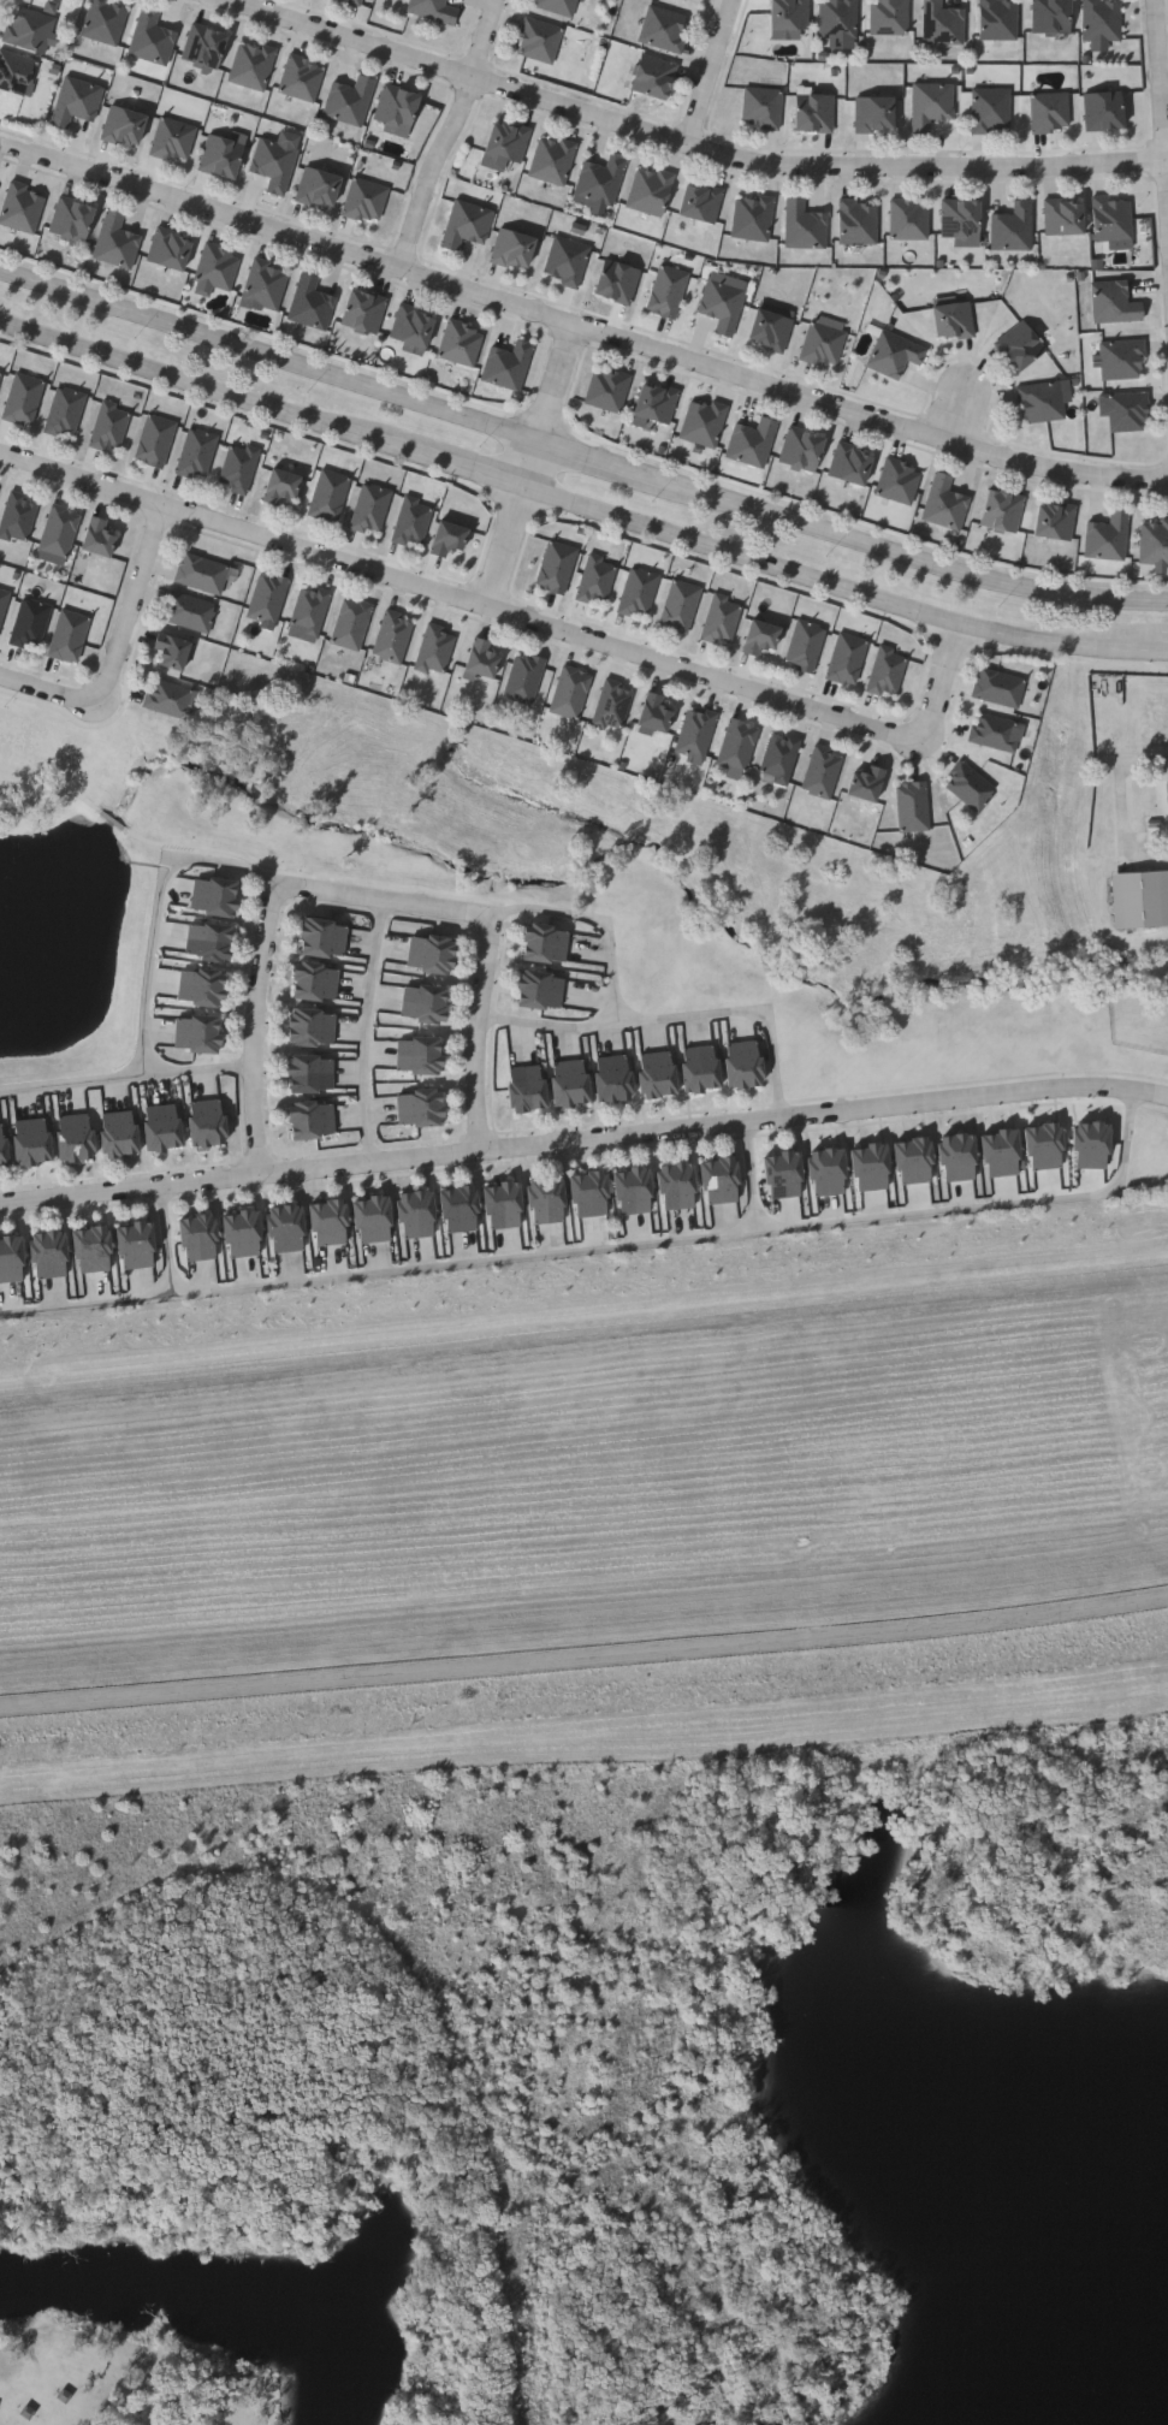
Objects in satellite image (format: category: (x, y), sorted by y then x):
building: (355, 1)
building: (557, 6)
building: (434, 10)
building: (789, 14)
building: (890, 17)
building: (1051, 17)
building: (998, 19)
building: (106, 20)
building: (840, 20)
building: (1102, 23)
building: (943, 24)
building: (665, 29)
building: (31, 30)
building: (153, 38)
road: (349, 40)
building: (540, 41)
building: (206, 47)
building: (254, 66)
building: (16, 72)
road: (711, 72)
building: (654, 77)
building: (303, 79)
road: (1160, 97)
building: (351, 101)
building: (77, 102)
building: (932, 106)
building: (397, 108)
building: (763, 108)
building: (1104, 111)
building: (991, 112)
building: (1051, 112)
building: (816, 113)
building: (876, 114)
building: (124, 126)
road: (452, 136)
building: (173, 141)
building: (505, 146)
building: (223, 155)
building: (275, 161)
building: (553, 161)
road: (814, 168)
building: (601, 180)
building: (319, 188)
building: (650, 191)
building: (366, 201)
building: (700, 202)
building: (23, 207)
building: (1065, 217)
building: (753, 218)
building: (1114, 219)
building: (72, 220)
building: (909, 220)
building: (859, 223)
building: (961, 223)
building: (467, 225)
building: (805, 225)
building: (1014, 229)
road: (289, 235)
building: (117, 243)
building: (170, 249)
building: (512, 249)
building: (568, 261)
building: (219, 267)
building: (618, 281)
building: (267, 285)
building: (669, 291)
building: (724, 301)
building: (1115, 303)
building: (312, 304)
building: (363, 312)
building: (953, 321)
building: (413, 326)
building: (770, 330)
building: (825, 340)
building: (462, 344)
building: (1021, 346)
road: (272, 350)
building: (895, 354)
building: (1123, 360)
building: (509, 366)
building: (0, 368)
building: (0, 374)
road: (561, 381)
road: (196, 383)
building: (607, 389)
building: (22, 398)
building: (657, 403)
building: (1043, 403)
building: (64, 410)
building: (1128, 411)
road: (871, 415)
road: (957, 417)
building: (704, 422)
building: (109, 426)
building: (154, 440)
building: (753, 443)
building: (802, 449)
building: (196, 453)
road: (604, 456)
road: (534, 461)
building: (852, 464)
road: (460, 466)
building: (237, 467)
building: (899, 481)
building: (279, 486)
building: (328, 496)
building: (945, 504)
building: (370, 508)
building: (1002, 512)
building: (17, 516)
building: (411, 521)
building: (1055, 521)
building: (59, 530)
building: (96, 538)
building: (446, 538)
building: (1108, 538)
building: (1154, 542)
road: (506, 546)
road: (913, 556)
building: (556, 568)
building: (201, 574)
building: (595, 581)
road: (842, 587)
building: (638, 593)
road: (137, 595)
building: (267, 597)
road: (461, 599)
building: (4, 601)
building: (680, 606)
building: (308, 610)
building: (189, 612)
building: (721, 619)
building: (350, 623)
building: (29, 624)
building: (67, 635)
building: (391, 638)
building: (760, 638)
building: (805, 645)
building: (434, 648)
road: (1167, 651)
building: (171, 652)
building: (480, 658)
building: (846, 658)
building: (887, 671)
building: (523, 678)
road: (941, 684)
building: (997, 687)
building: (569, 692)
road: (53, 694)
building: (172, 699)
building: (612, 705)
building: (653, 713)
building: (992, 731)
building: (695, 733)
building: (737, 745)
building: (778, 760)
building: (820, 772)
building: (864, 783)
building: (968, 785)
building: (1167, 788)
road: (1122, 791)
building: (912, 806)
building: (214, 897)
building: (1139, 900)
road: (490, 935)
building: (322, 939)
building: (208, 942)
building: (545, 944)
building: (431, 955)
building: (315, 983)
road: (618, 983)
road: (154, 985)
building: (201, 988)
building: (539, 990)
building: (423, 1004)
road: (746, 1010)
road: (255, 1025)
building: (312, 1028)
road: (375, 1031)
building: (197, 1034)
building: (419, 1056)
building: (743, 1065)
building: (700, 1068)
road: (201, 1074)
building: (312, 1074)
building: (657, 1074)
building: (612, 1079)
building: (570, 1084)
building: (527, 1089)
building: (420, 1108)
building: (312, 1121)
building: (207, 1123)
building: (162, 1128)
building: (118, 1134)
building: (75, 1138)
road: (583, 1139)
building: (32, 1142)
building: (1090, 1144)
building: (1043, 1146)
building: (2, 1149)
building: (1000, 1152)
building: (956, 1157)
building: (913, 1161)
building: (868, 1167)
building: (826, 1170)
building: (782, 1175)
road: (755, 1178)
building: (719, 1181)
building: (677, 1186)
building: (634, 1192)
building: (589, 1194)
building: (547, 1200)
building: (503, 1206)
building: (460, 1210)
building: (416, 1216)
building: (373, 1221)
building: (328, 1223)
building: (286, 1229)
building: (242, 1235)
building: (198, 1239)
road: (172, 1241)
building: (136, 1246)
road: (612, 1250)
building: (91, 1251)
building: (49, 1256)
building: (11, 1261)
road: (585, 1659)
park: (532, 2045)
park: (135, 2377)

